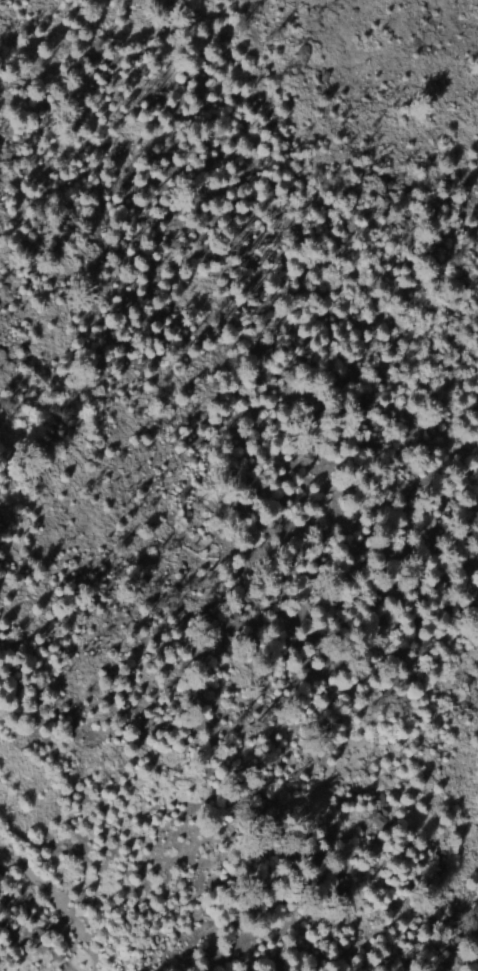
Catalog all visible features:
road: (54, 901)

